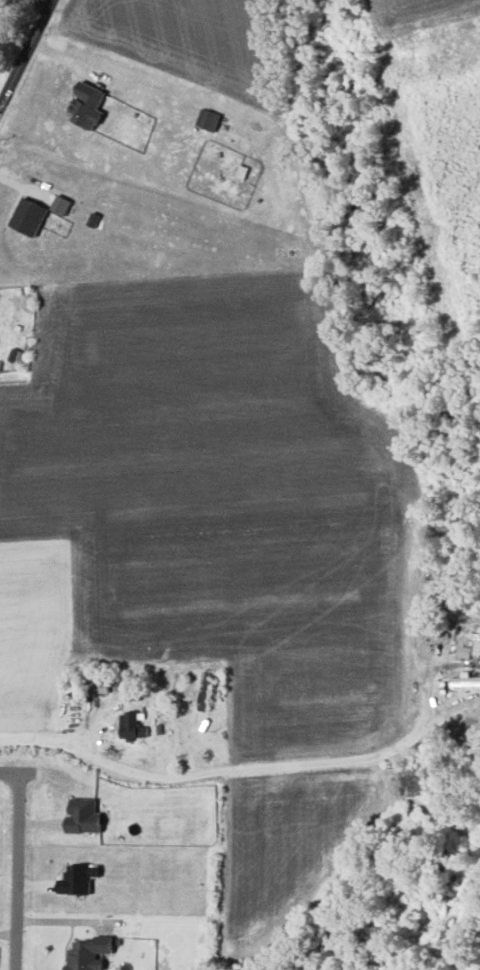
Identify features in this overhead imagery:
road: (25, 3)
road: (28, 55)
building: (88, 105)
building: (209, 119)
building: (29, 216)
building: (465, 651)
building: (130, 725)
road: (244, 775)
building: (85, 816)
road: (17, 865)
building: (79, 879)
building: (90, 954)

